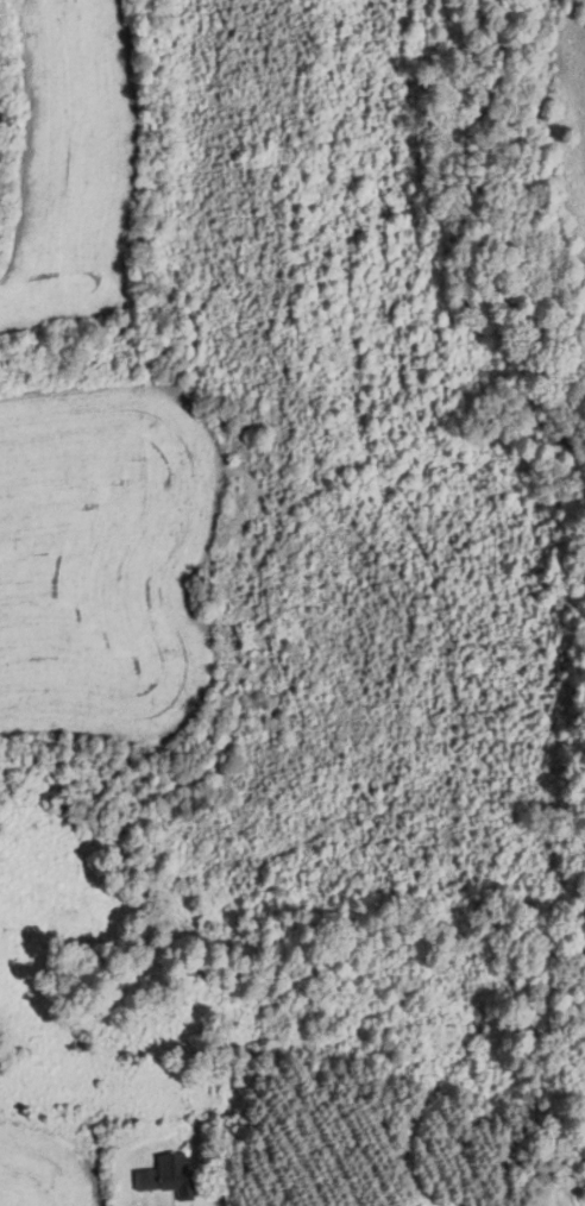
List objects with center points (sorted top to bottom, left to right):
building: (169, 1175)

